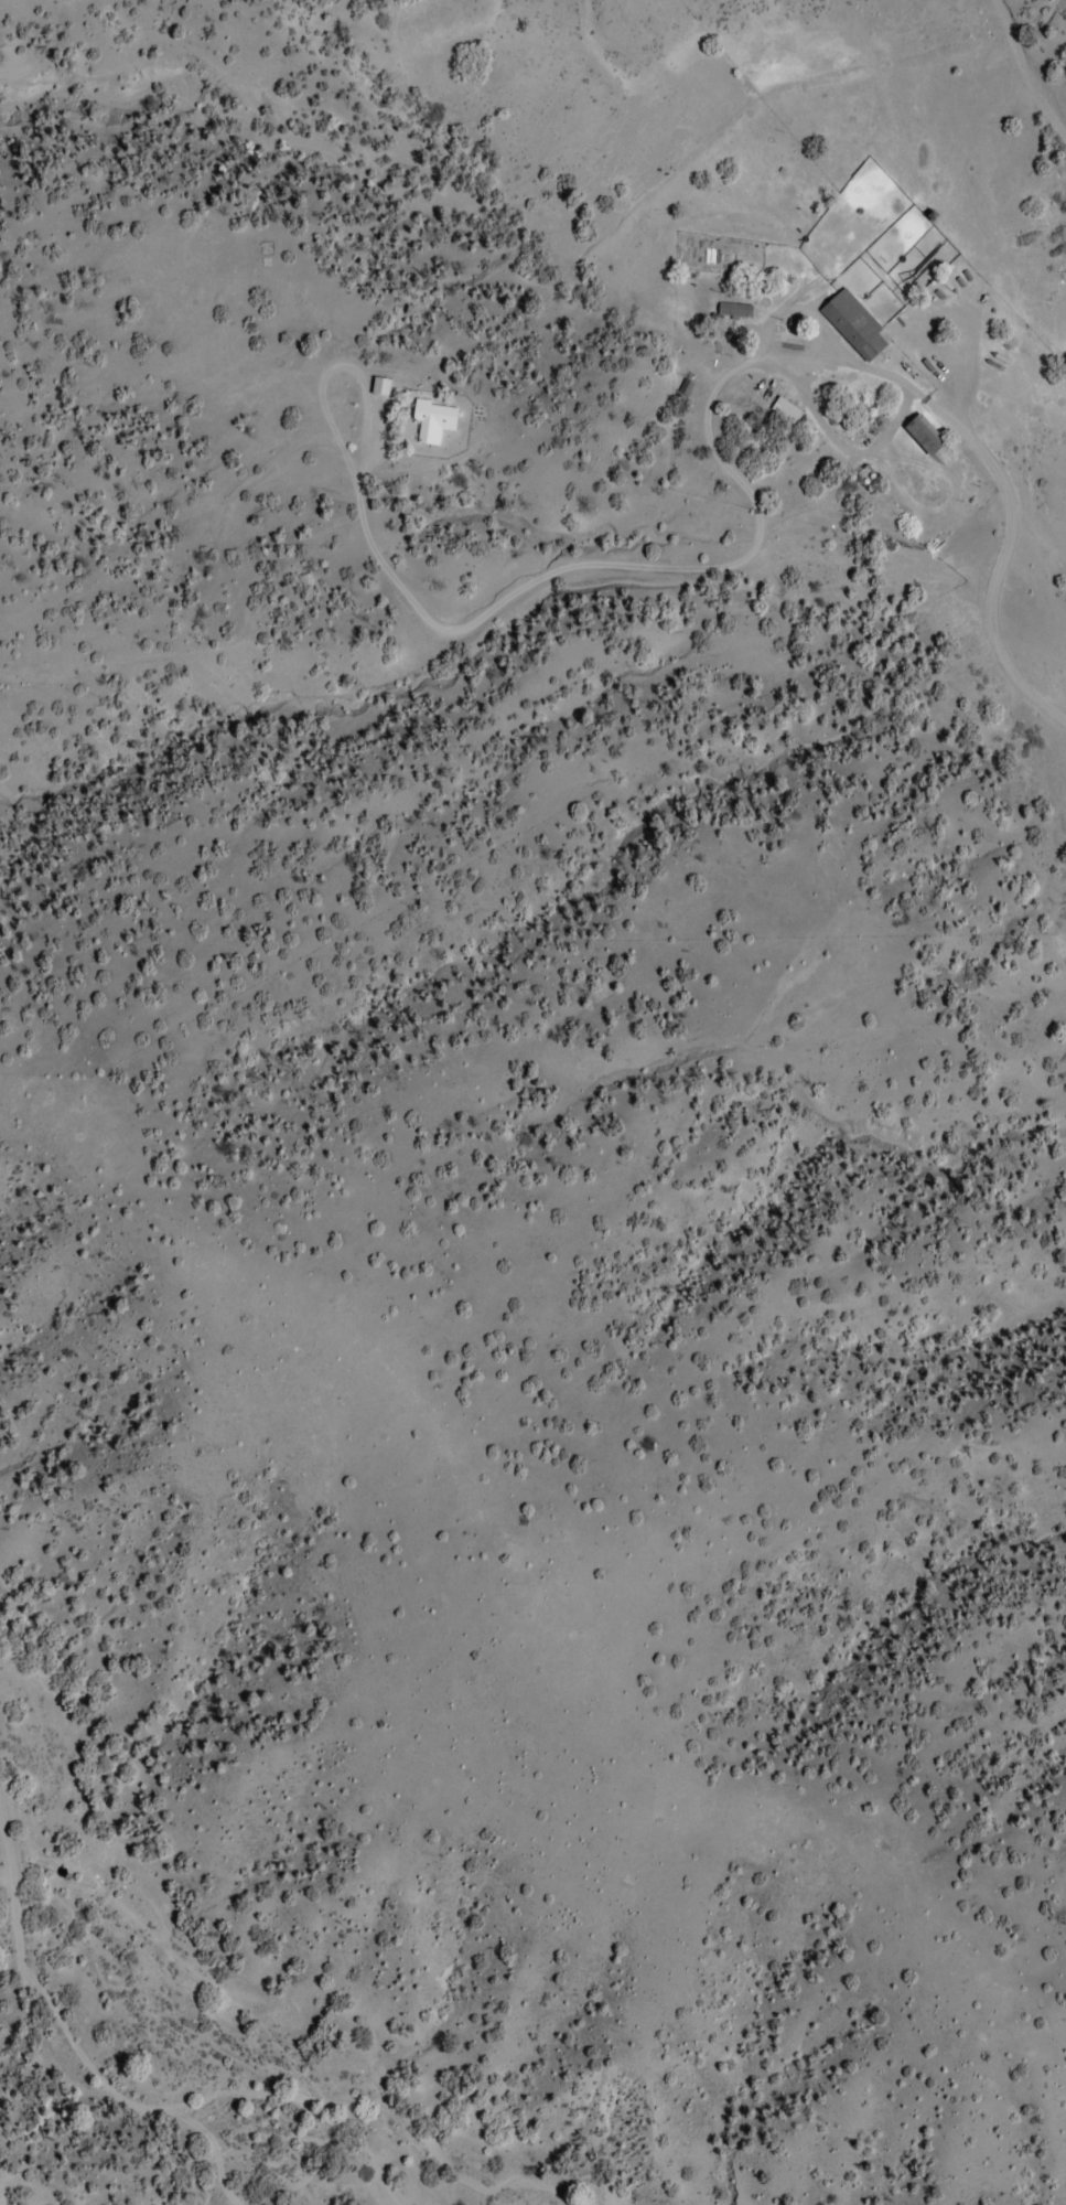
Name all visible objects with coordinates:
road: (958, 206)
building: (735, 309)
building: (855, 323)
road: (319, 374)
building: (383, 386)
building: (686, 386)
building: (785, 409)
building: (434, 418)
road: (817, 428)
building: (926, 433)
road: (997, 560)
road: (666, 567)
road: (244, 622)
road: (211, 2149)

